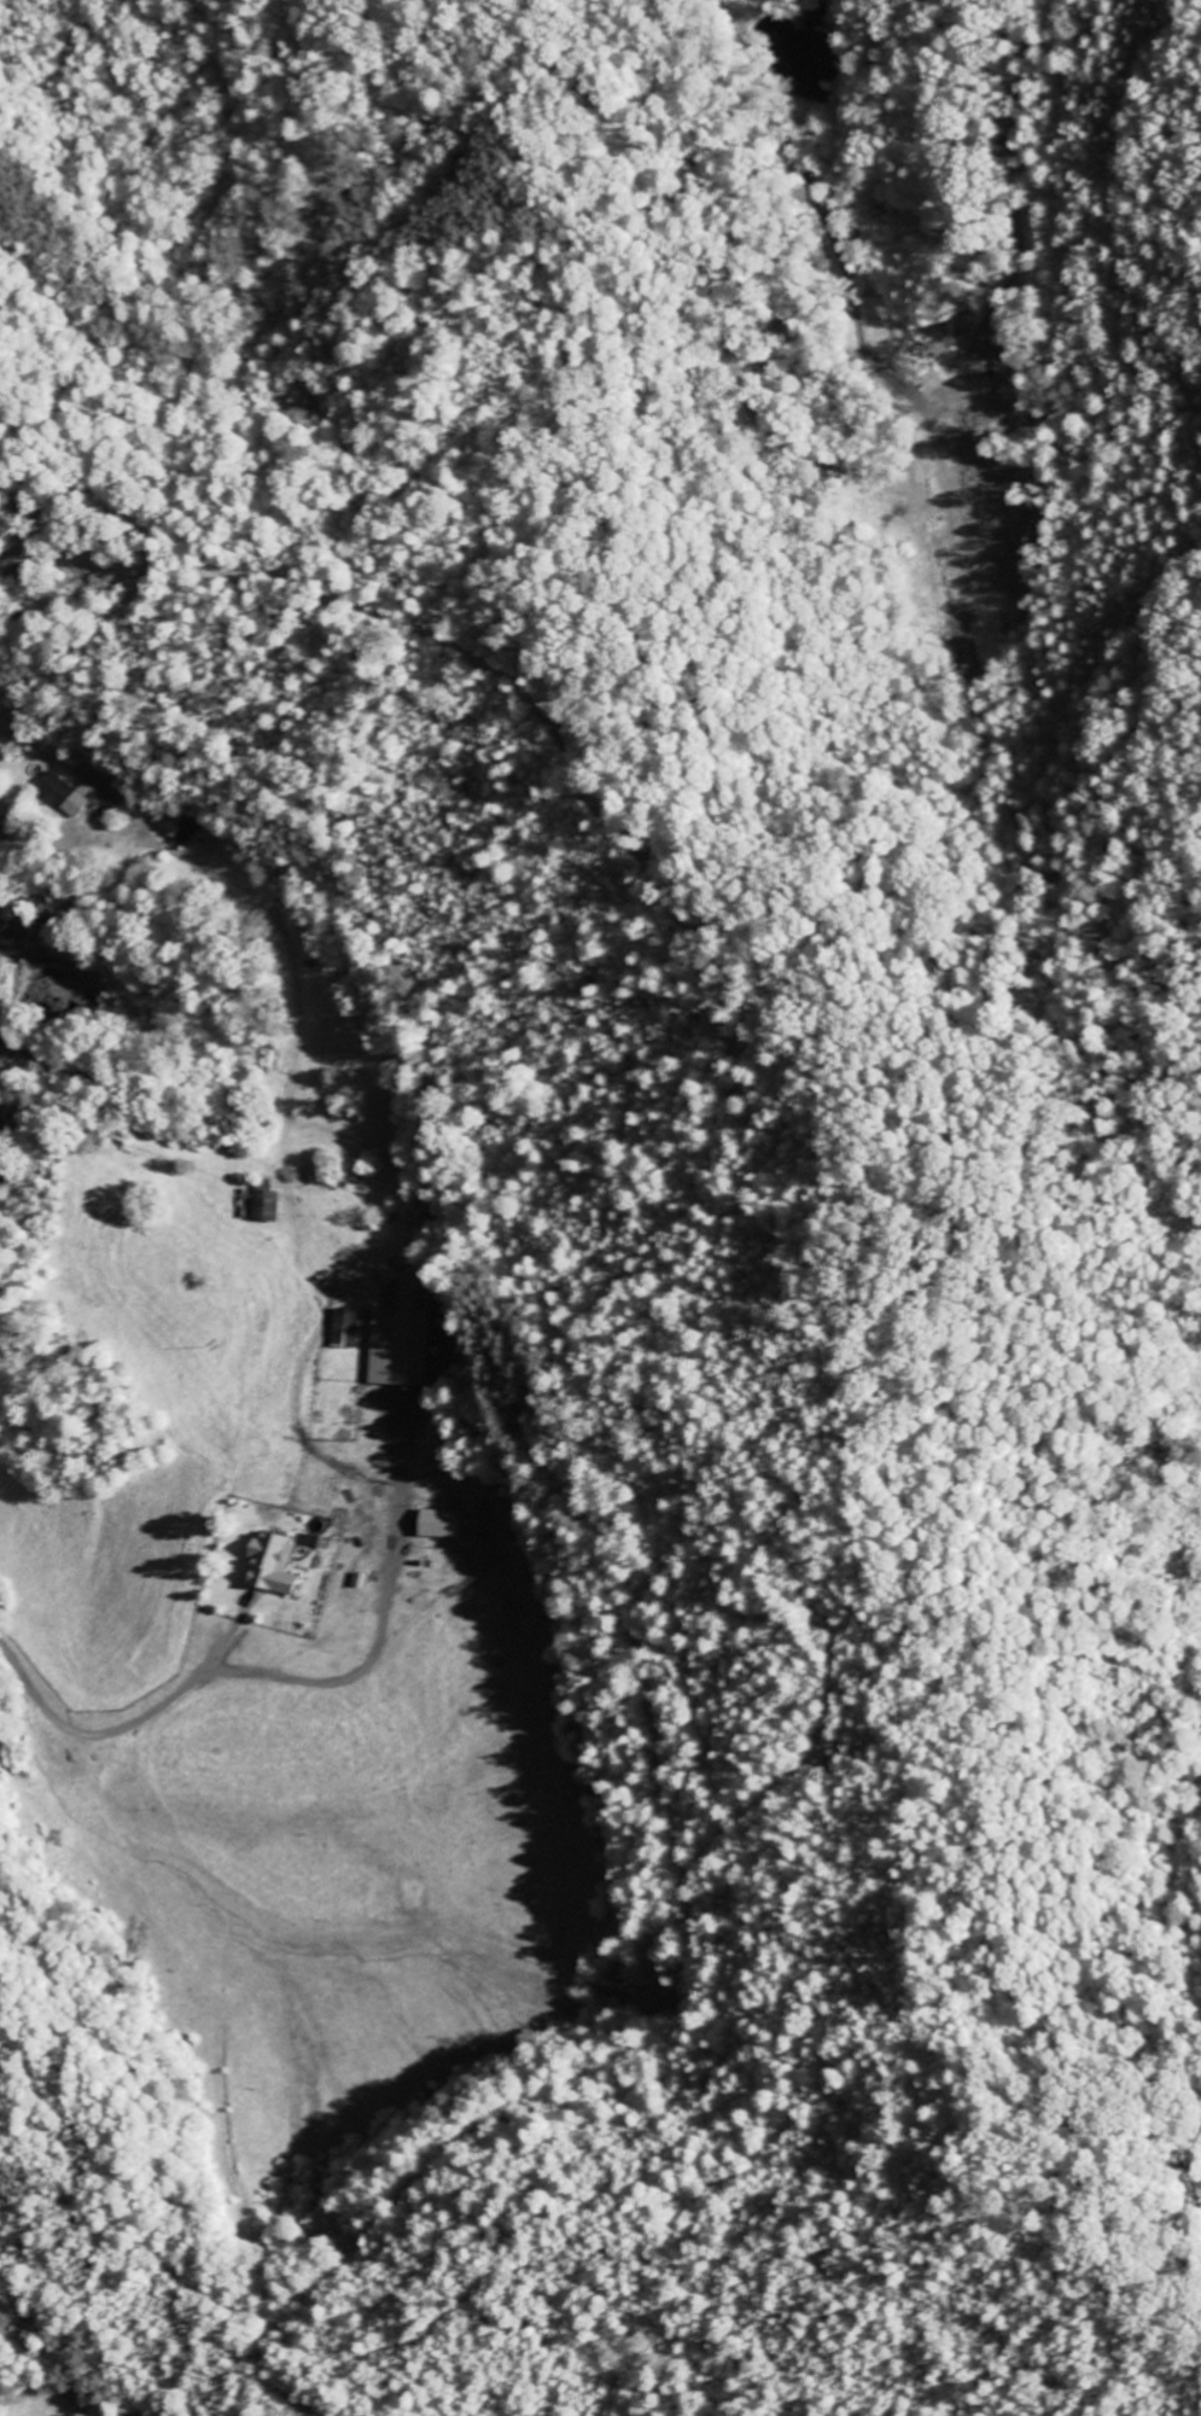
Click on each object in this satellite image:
building: (68, 793)
building: (267, 1206)
building: (340, 1327)
building: (391, 1346)
building: (445, 1523)
building: (284, 1564)

